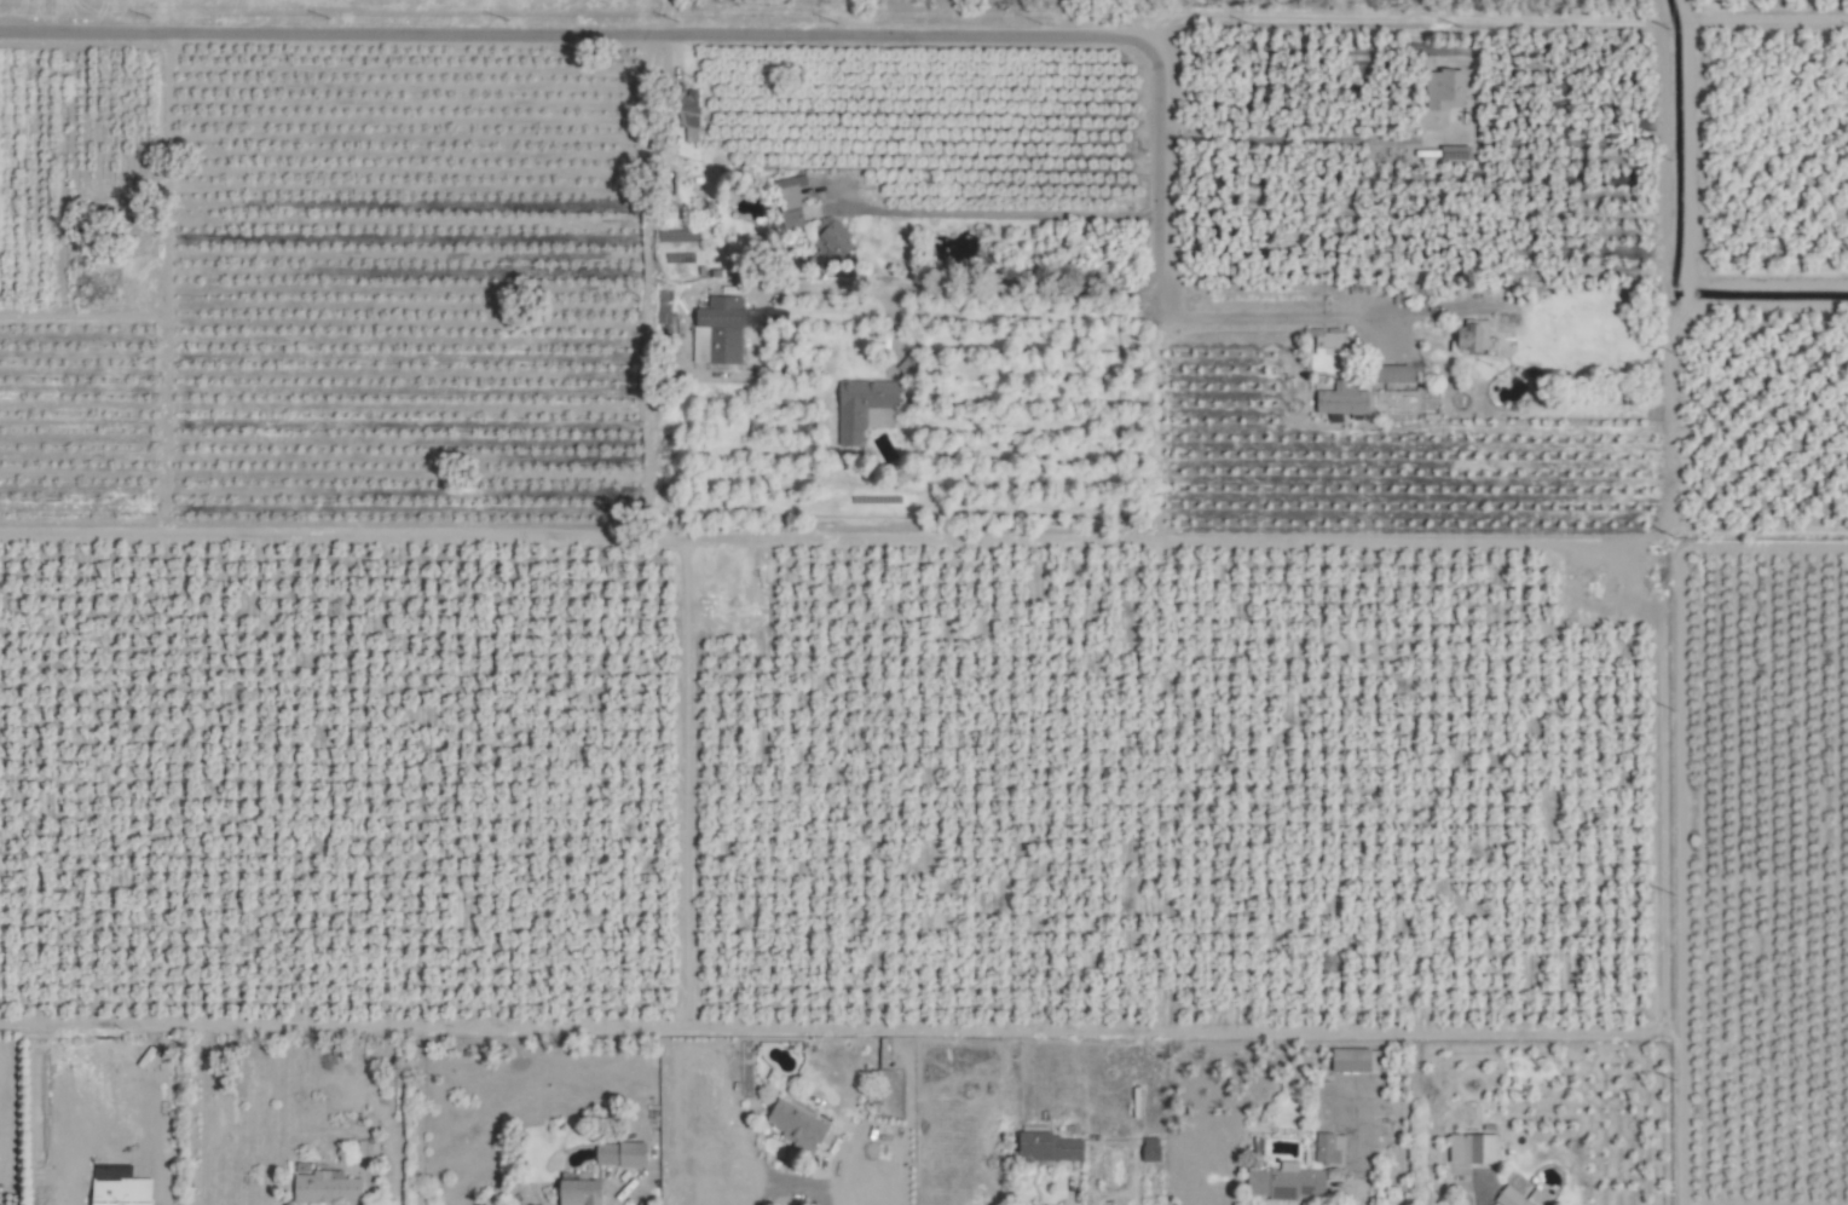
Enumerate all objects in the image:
crop: (342, 10)
road: (659, 16)
road: (1766, 18)
road: (824, 34)
building: (1446, 90)
road: (1307, 138)
building: (789, 192)
road: (998, 213)
building: (832, 236)
road: (1767, 283)
road: (955, 288)
road: (1766, 304)
building: (726, 328)
road: (894, 329)
building: (1478, 336)
building: (1333, 341)
building: (1394, 373)
building: (1345, 398)
building: (864, 407)
road: (1098, 540)
crop: (924, 602)
building: (1357, 1060)
building: (795, 1124)
building: (1053, 1147)
building: (1332, 1147)
building: (1474, 1148)
building: (368, 1149)
building: (624, 1157)
road: (790, 1178)
building: (1288, 1182)
building: (325, 1184)
road: (1075, 1187)
building: (582, 1189)
building: (1523, 1197)
road: (1482, 1199)

